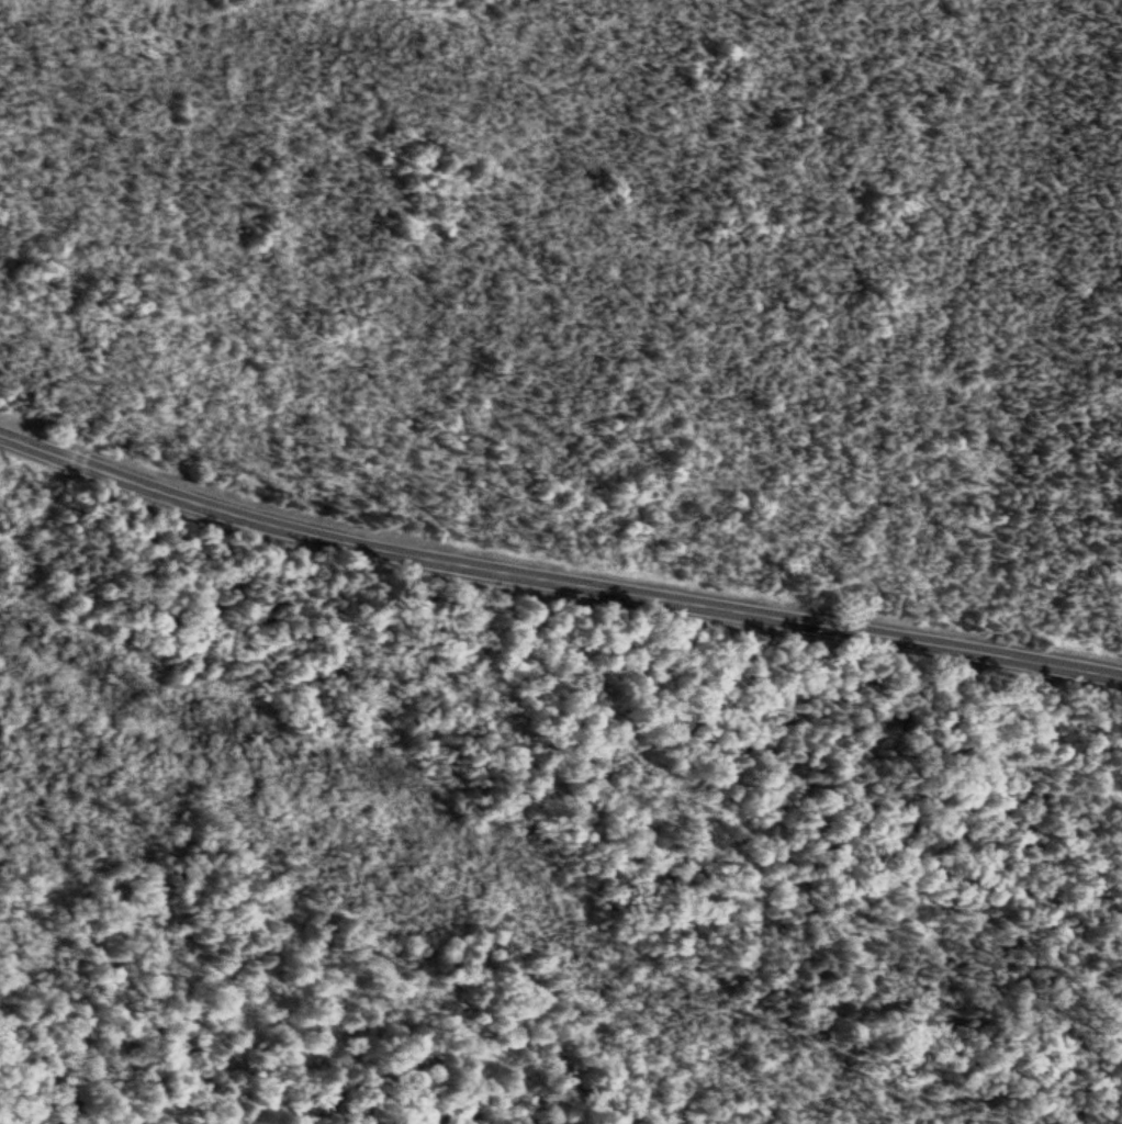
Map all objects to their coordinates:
road: (554, 582)

